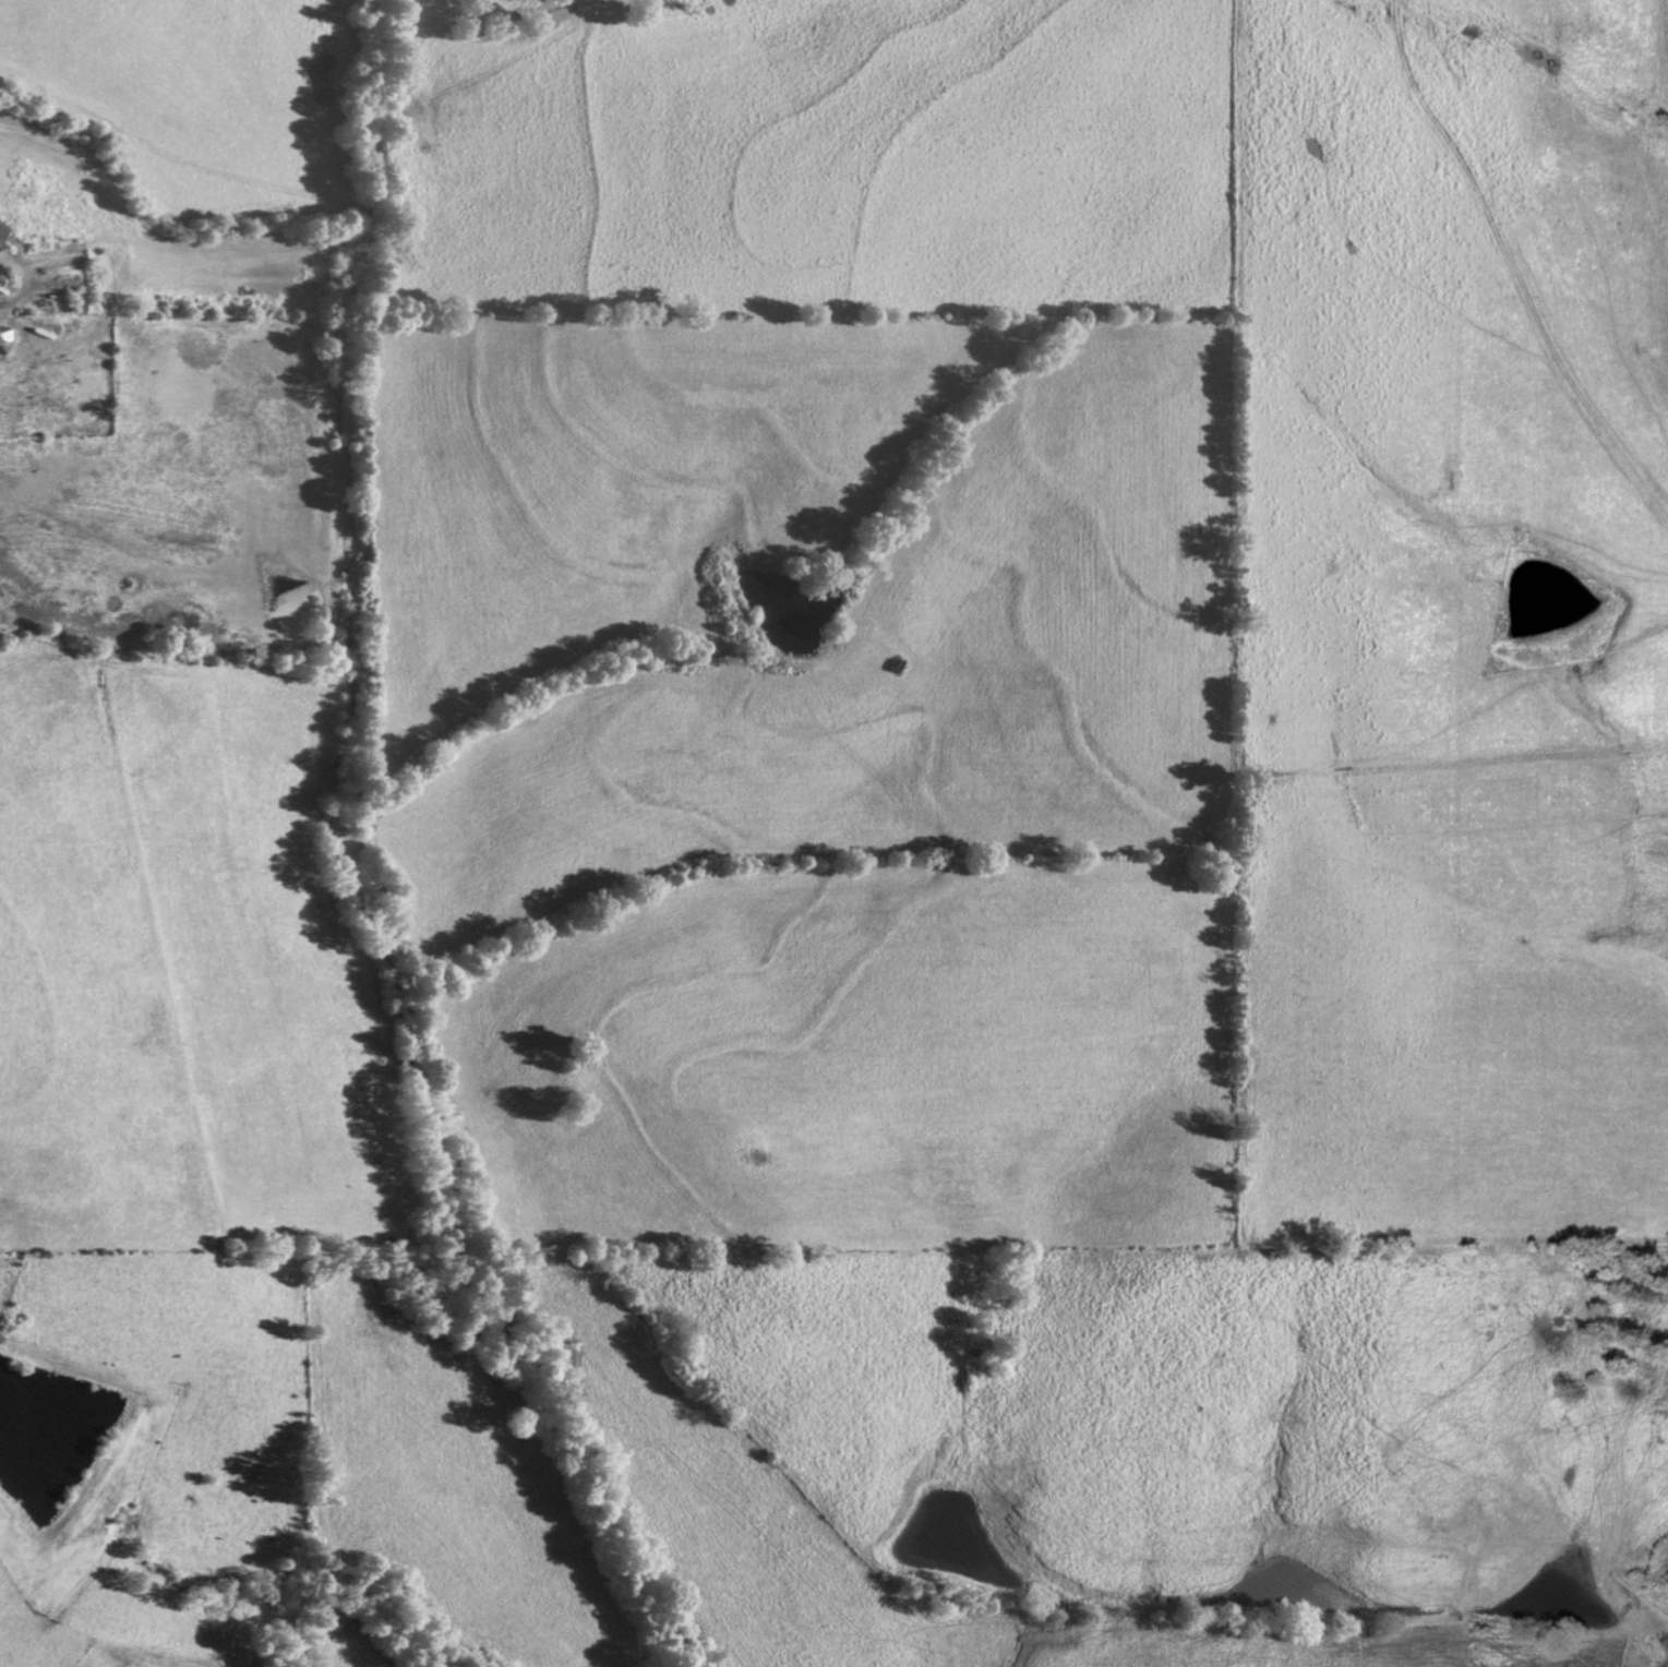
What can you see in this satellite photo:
building: (2, 230)
building: (65, 291)
building: (2, 337)

